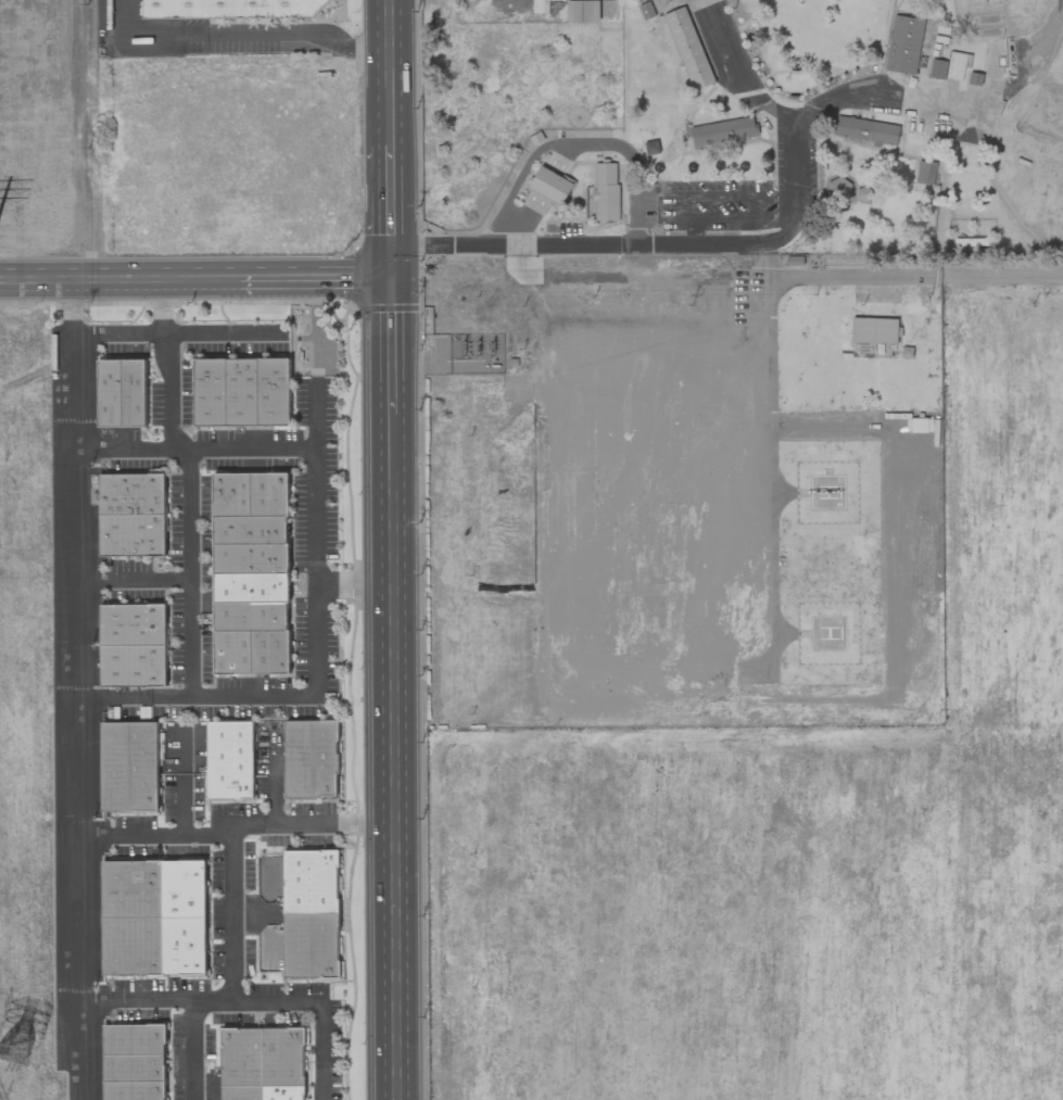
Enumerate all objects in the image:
building: (231, 9)
building: (585, 11)
road: (288, 31)
road: (139, 33)
building: (904, 45)
building: (691, 51)
building: (956, 65)
road: (739, 72)
road: (389, 73)
building: (723, 130)
building: (866, 130)
road: (794, 138)
road: (535, 154)
road: (564, 156)
building: (551, 186)
building: (838, 189)
building: (606, 192)
road: (389, 199)
road: (635, 200)
road: (759, 220)
road: (528, 222)
road: (693, 232)
road: (704, 244)
road: (512, 245)
road: (390, 265)
road: (726, 277)
road: (195, 280)
building: (874, 330)
road: (178, 332)
road: (391, 347)
building: (242, 392)
building: (274, 392)
building: (111, 393)
building: (134, 393)
building: (210, 393)
road: (316, 414)
road: (264, 446)
helipad: (830, 493)
building: (131, 494)
building: (269, 494)
building: (232, 495)
building: (250, 530)
building: (132, 535)
road: (191, 548)
road: (367, 549)
road: (418, 549)
building: (251, 558)
road: (130, 578)
building: (251, 587)
building: (250, 616)
building: (132, 624)
helipad: (830, 631)
building: (269, 652)
building: (232, 653)
road: (318, 665)
building: (132, 666)
road: (66, 691)
road: (394, 757)
building: (311, 759)
building: (229, 760)
building: (129, 767)
road: (273, 776)
road: (180, 782)
road: (230, 825)
building: (311, 882)
building: (131, 889)
building: (184, 889)
road: (233, 912)
building: (131, 946)
building: (184, 946)
building: (311, 946)
road: (245, 1001)
building: (134, 1039)
power tower: (16, 1049)
road: (193, 1049)
building: (241, 1057)
building: (283, 1057)
building: (134, 1067)
building: (134, 1090)
building: (242, 1092)
building: (283, 1092)

